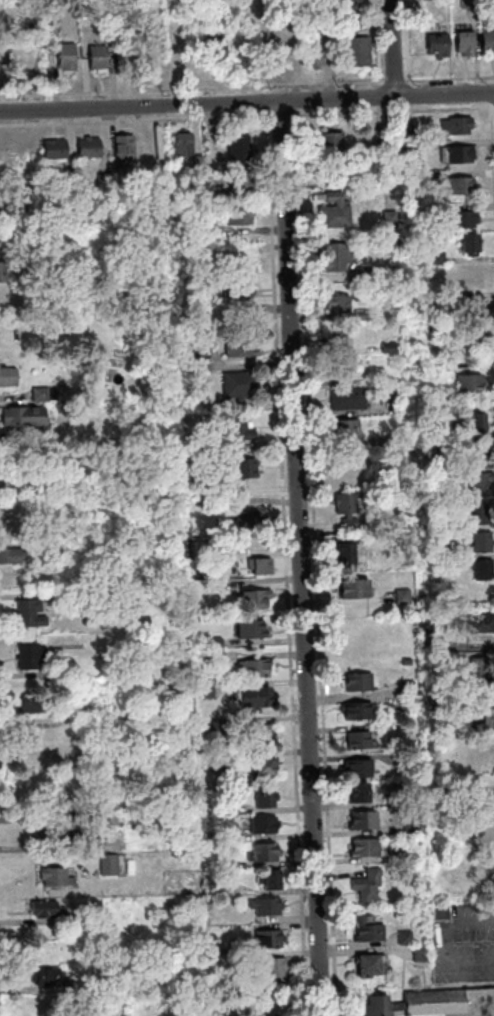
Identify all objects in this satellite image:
building: (467, 4)
building: (343, 6)
building: (112, 13)
building: (50, 22)
building: (344, 25)
building: (486, 39)
road: (405, 40)
road: (375, 43)
building: (462, 43)
building: (435, 44)
building: (283, 47)
road: (390, 48)
building: (212, 51)
building: (355, 51)
building: (64, 56)
building: (95, 56)
building: (312, 58)
building: (121, 59)
road: (449, 78)
road: (393, 80)
road: (191, 88)
road: (378, 91)
road: (490, 97)
road: (246, 101)
road: (265, 106)
road: (492, 107)
road: (389, 111)
road: (280, 115)
road: (136, 120)
building: (456, 124)
building: (404, 132)
building: (377, 137)
road: (492, 137)
building: (4, 140)
building: (331, 140)
building: (179, 144)
building: (86, 148)
building: (52, 149)
building: (121, 150)
building: (236, 150)
building: (456, 153)
building: (194, 164)
building: (427, 180)
building: (101, 181)
building: (462, 184)
building: (1, 185)
building: (239, 185)
building: (215, 197)
building: (52, 205)
building: (26, 207)
building: (427, 208)
building: (1, 209)
building: (334, 209)
building: (237, 216)
building: (462, 217)
building: (386, 219)
building: (208, 231)
building: (4, 237)
building: (469, 241)
building: (335, 257)
building: (435, 258)
building: (1, 272)
building: (360, 273)
building: (467, 276)
building: (234, 286)
building: (466, 293)
building: (433, 297)
building: (2, 300)
building: (335, 300)
building: (241, 307)
building: (469, 307)
building: (359, 315)
building: (431, 326)
building: (469, 336)
building: (339, 337)
building: (10, 339)
building: (386, 347)
building: (236, 348)
building: (199, 365)
building: (444, 365)
building: (339, 367)
building: (6, 377)
building: (469, 382)
building: (237, 385)
building: (385, 391)
building: (37, 394)
building: (347, 396)
building: (214, 406)
building: (442, 409)
building: (21, 416)
building: (475, 423)
building: (346, 428)
building: (234, 433)
building: (395, 439)
building: (470, 460)
building: (344, 466)
building: (242, 468)
building: (475, 481)
building: (345, 503)
building: (208, 504)
building: (479, 512)
building: (244, 520)
building: (481, 541)
building: (444, 544)
building: (55, 550)
building: (346, 552)
building: (8, 555)
road: (314, 557)
road: (301, 558)
building: (256, 566)
road: (283, 567)
building: (482, 568)
building: (14, 578)
building: (353, 587)
building: (48, 595)
building: (401, 595)
building: (252, 599)
building: (26, 614)
building: (480, 621)
building: (421, 623)
building: (247, 631)
building: (211, 643)
building: (211, 655)
building: (27, 656)
building: (253, 669)
building: (478, 671)
building: (63, 672)
building: (356, 680)
building: (403, 687)
building: (202, 691)
building: (250, 697)
building: (431, 702)
building: (404, 703)
building: (30, 704)
building: (357, 710)
building: (81, 713)
building: (483, 717)
building: (215, 724)
building: (258, 735)
building: (357, 738)
building: (25, 742)
building: (103, 752)
building: (73, 756)
building: (214, 759)
building: (357, 767)
building: (257, 769)
building: (436, 786)
building: (408, 789)
building: (358, 791)
building: (261, 798)
building: (487, 800)
building: (108, 818)
building: (361, 818)
building: (259, 825)
building: (410, 826)
building: (43, 827)
building: (69, 828)
building: (209, 836)
building: (363, 846)
building: (259, 853)
building: (221, 863)
building: (105, 865)
building: (53, 875)
building: (267, 880)
building: (367, 884)
building: (222, 888)
building: (88, 904)
building: (262, 906)
building: (43, 908)
building: (437, 911)
building: (365, 929)
building: (265, 937)
building: (401, 937)
street lamp: (449, 942)
parking lot: (466, 942)
road: (440, 944)
building: (422, 954)
building: (370, 962)
building: (278, 969)
building: (51, 976)
building: (118, 983)
building: (252, 1003)
building: (436, 1004)
road: (0, 1011)

